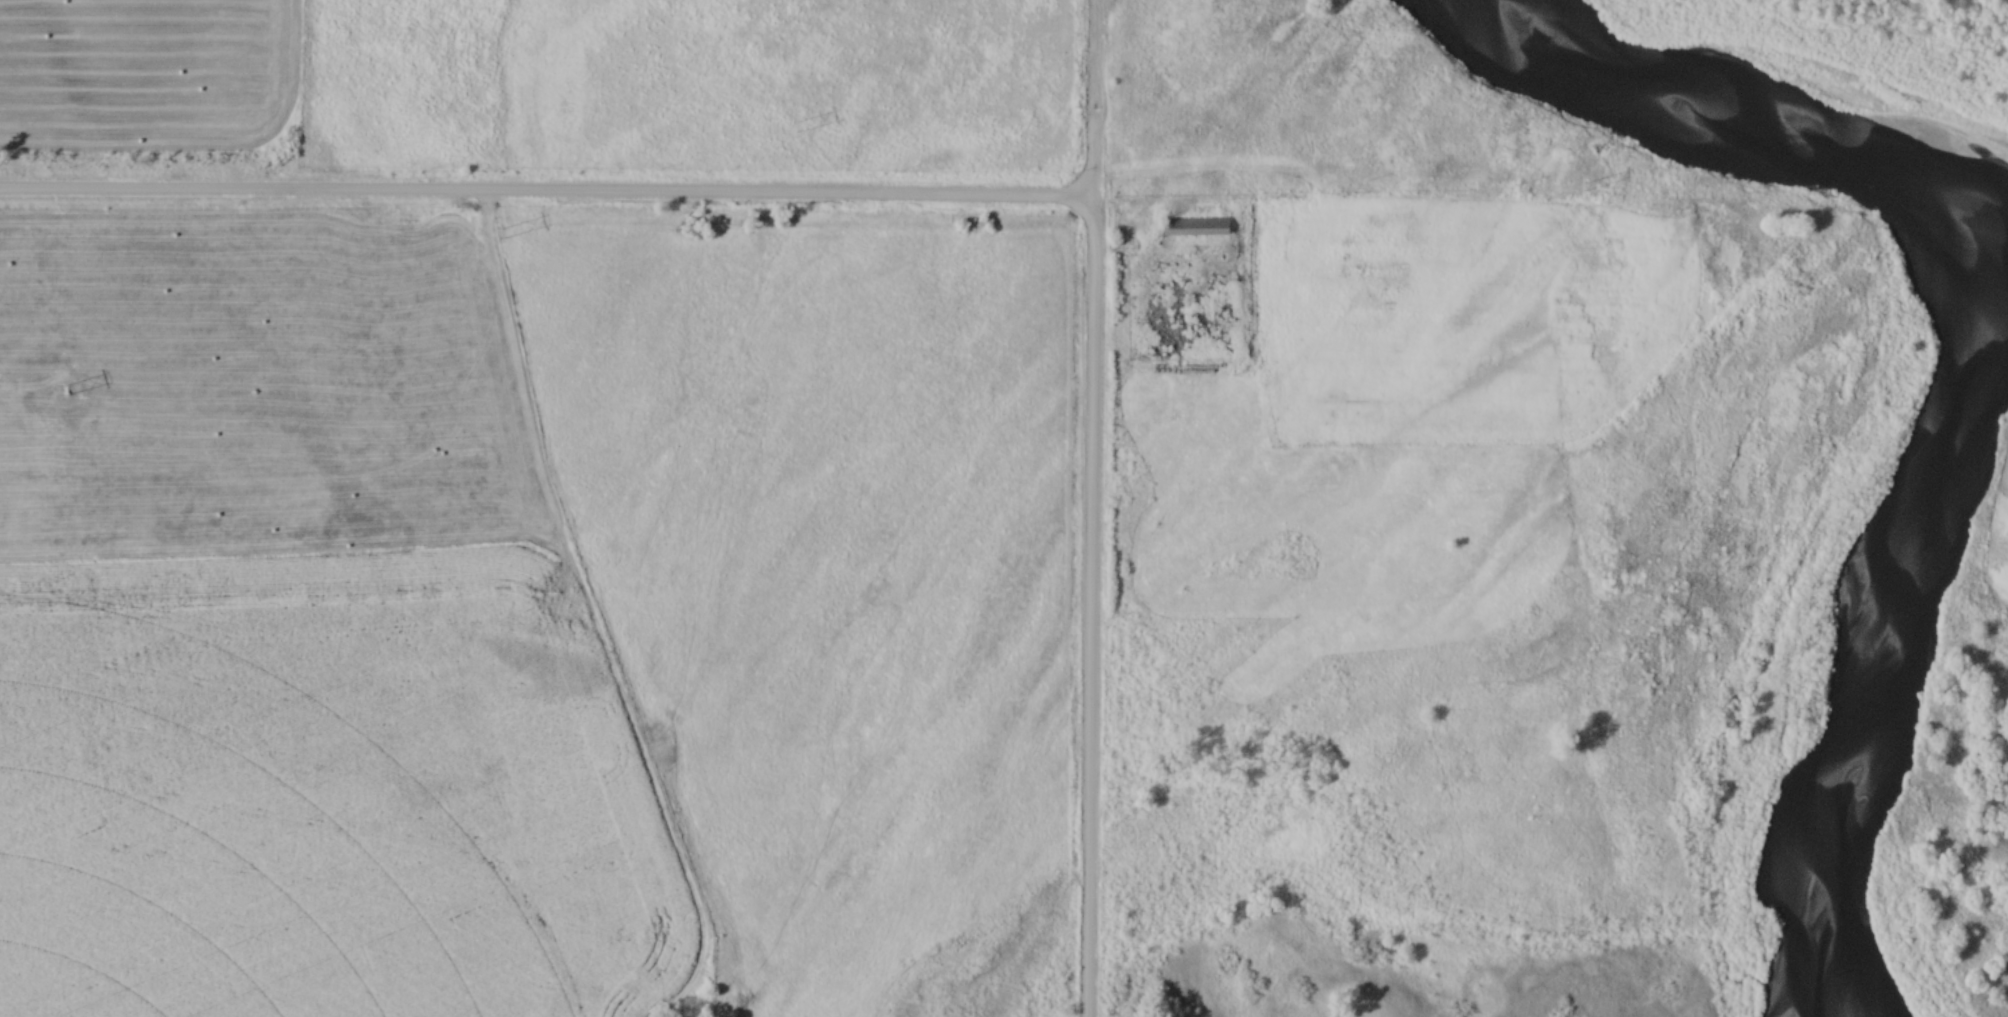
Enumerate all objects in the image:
power tower: (794, 129)
road: (545, 199)
building: (1195, 228)
power tower: (499, 236)
river: (1991, 340)
power tower: (59, 393)
road: (1088, 508)

